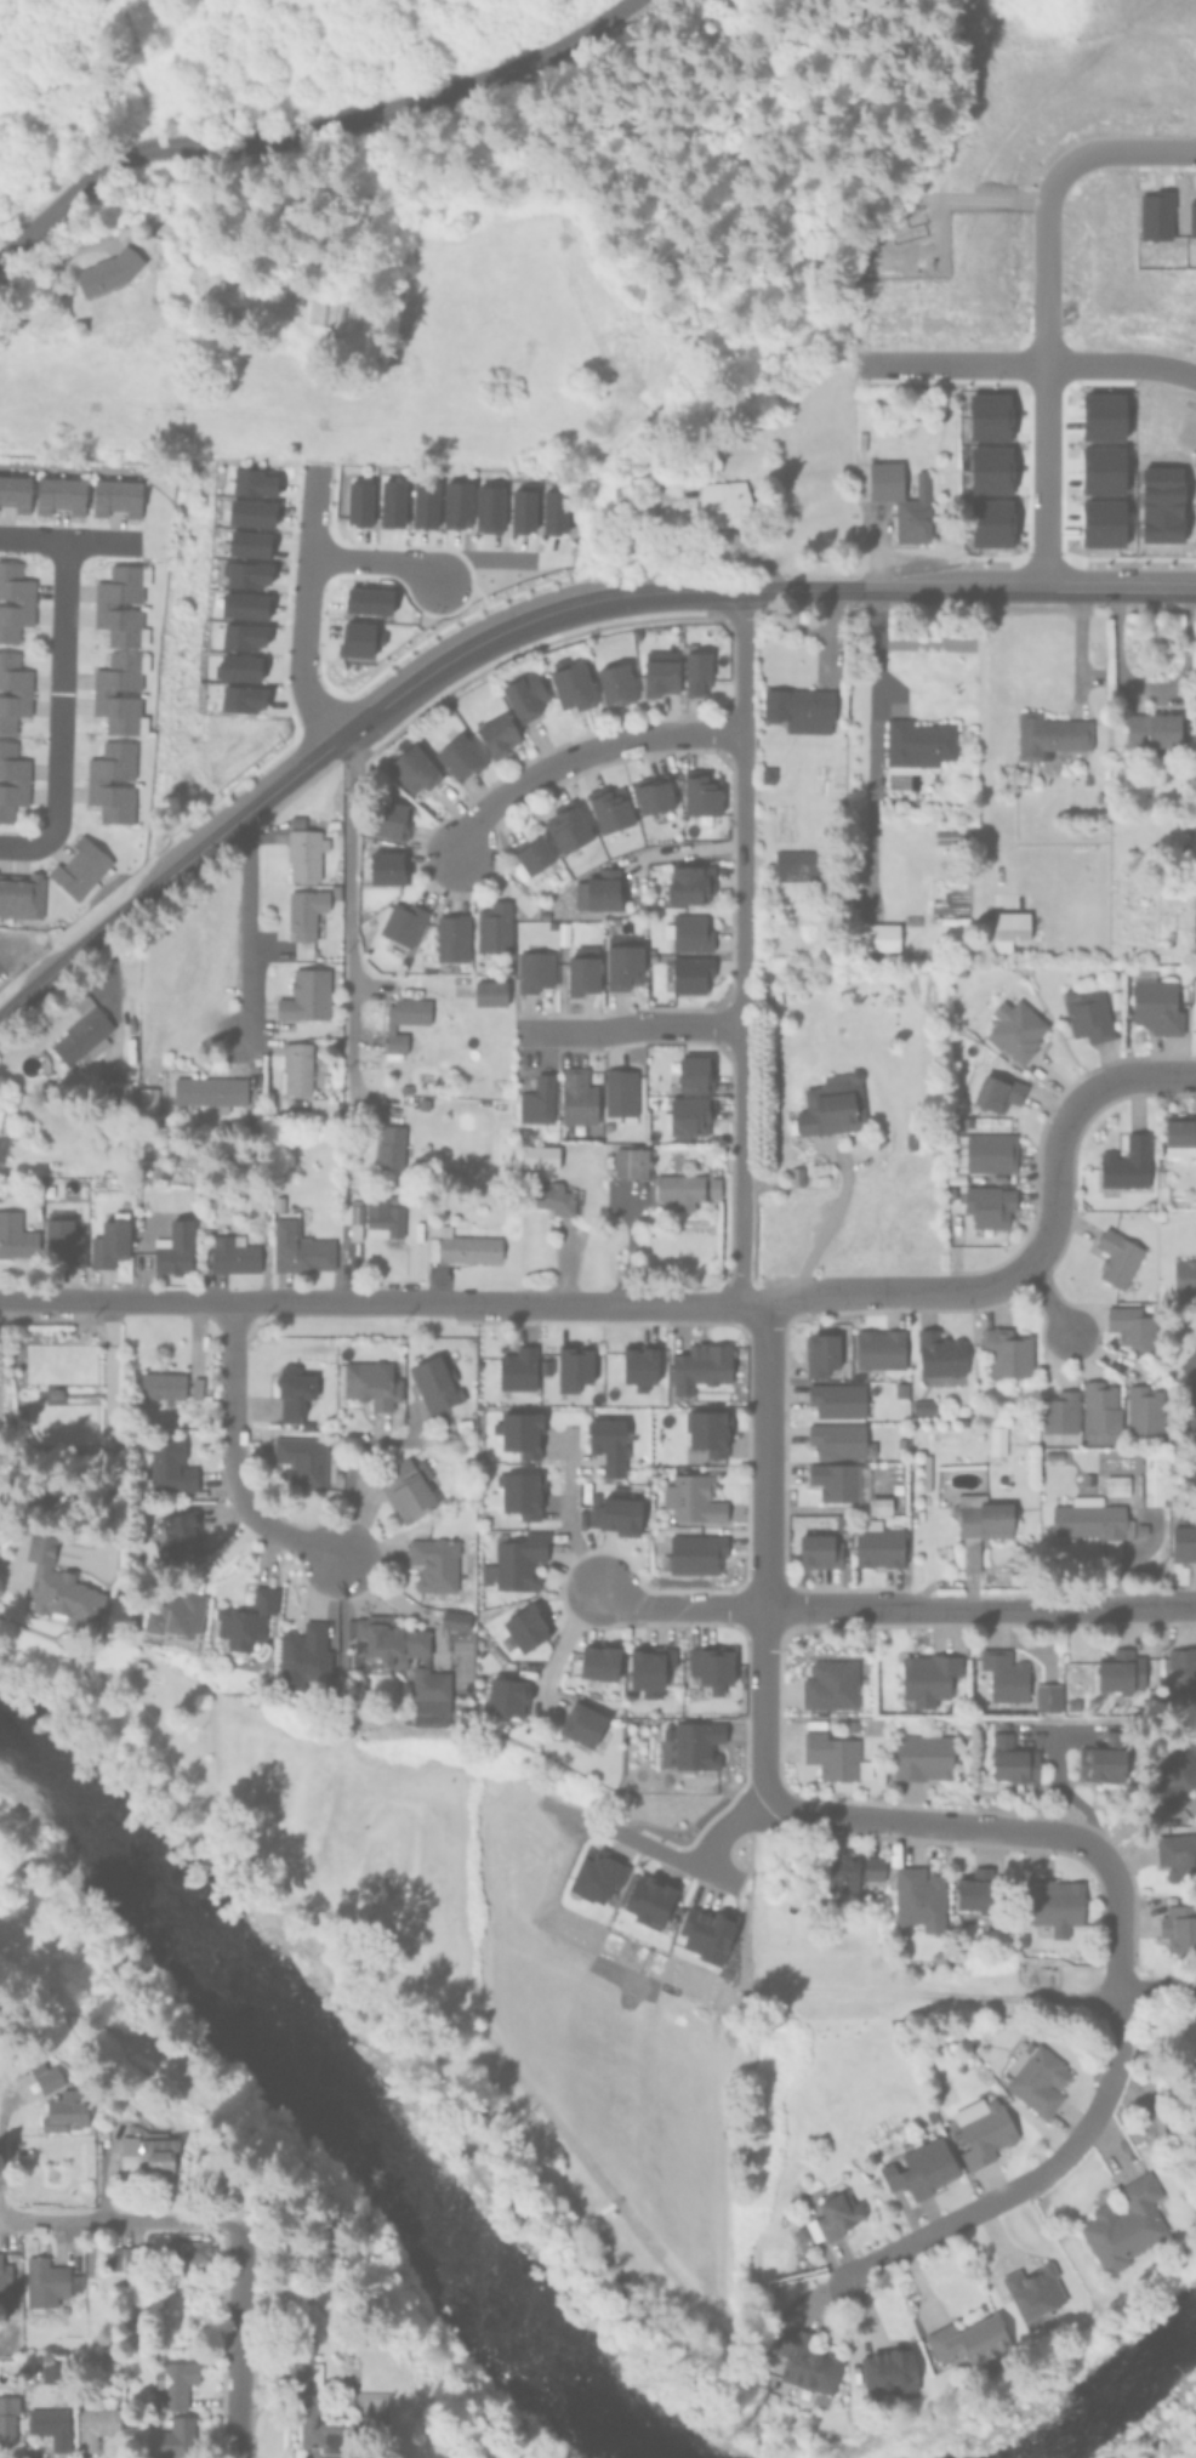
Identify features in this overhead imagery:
road: (313, 131)
road: (1126, 149)
road: (967, 209)
building: (107, 271)
road: (1031, 364)
road: (1041, 377)
building: (251, 482)
building: (15, 491)
building: (59, 494)
building: (625, 495)
building: (116, 496)
building: (901, 499)
building: (358, 502)
building: (389, 502)
building: (723, 502)
building: (422, 503)
building: (455, 503)
building: (486, 508)
building: (520, 511)
building: (552, 511)
building: (250, 512)
road: (66, 537)
building: (247, 544)
road: (374, 553)
road: (478, 554)
building: (245, 574)
road: (970, 587)
building: (366, 599)
building: (13, 601)
building: (103, 604)
building: (243, 604)
road: (301, 608)
road: (524, 619)
building: (243, 636)
building: (357, 638)
building: (237, 666)
building: (696, 670)
building: (659, 676)
building: (616, 683)
building: (573, 687)
building: (12, 690)
building: (102, 692)
road: (1144, 692)
building: (525, 696)
building: (241, 698)
building: (801, 709)
road: (58, 713)
building: (1151, 729)
building: (1050, 734)
building: (497, 735)
building: (918, 742)
road: (872, 744)
road: (582, 755)
building: (460, 757)
building: (414, 768)
building: (767, 774)
building: (11, 780)
building: (95, 781)
building: (654, 793)
building: (700, 793)
building: (610, 808)
building: (388, 819)
building: (568, 827)
building: (955, 837)
road: (671, 850)
building: (303, 854)
building: (532, 854)
building: (387, 865)
building: (796, 865)
building: (79, 869)
road: (165, 875)
building: (690, 884)
building: (336, 891)
building: (599, 891)
building: (21, 892)
road: (349, 895)
building: (303, 917)
building: (401, 921)
road: (247, 926)
building: (494, 926)
building: (1007, 929)
building: (688, 931)
building: (451, 935)
building: (879, 937)
road: (742, 946)
building: (918, 951)
building: (623, 960)
building: (534, 969)
building: (690, 971)
building: (581, 973)
building: (762, 980)
building: (489, 991)
building: (304, 994)
building: (1155, 1002)
building: (1088, 1013)
building: (403, 1019)
road: (628, 1026)
building: (81, 1029)
building: (1019, 1029)
building: (296, 1065)
building: (693, 1071)
building: (51, 1087)
building: (109, 1087)
building: (404, 1087)
building: (209, 1091)
building: (998, 1091)
building: (620, 1092)
building: (536, 1099)
building: (576, 1099)
building: (832, 1103)
building: (147, 1104)
building: (501, 1105)
building: (321, 1109)
building: (684, 1114)
building: (254, 1127)
building: (1179, 1133)
building: (910, 1139)
building: (2, 1144)
building: (389, 1145)
building: (986, 1151)
building: (540, 1155)
building: (619, 1161)
building: (638, 1161)
building: (1127, 1162)
building: (796, 1174)
building: (974, 1177)
building: (712, 1185)
building: (679, 1188)
building: (552, 1199)
building: (277, 1201)
building: (989, 1204)
building: (352, 1214)
building: (383, 1214)
building: (690, 1221)
building: (15, 1235)
building: (61, 1239)
building: (108, 1242)
building: (298, 1244)
building: (175, 1245)
building: (461, 1245)
building: (230, 1252)
building: (1117, 1256)
building: (1184, 1275)
road: (1046, 1304)
road: (670, 1308)
building: (1132, 1325)
building: (879, 1348)
building: (1007, 1350)
building: (821, 1352)
building: (940, 1358)
building: (574, 1362)
building: (639, 1362)
building: (545, 1365)
building: (700, 1365)
building: (1190, 1366)
building: (517, 1369)
building: (435, 1379)
building: (371, 1382)
building: (161, 1384)
building: (197, 1388)
building: (900, 1389)
building: (292, 1390)
building: (55, 1392)
building: (838, 1398)
building: (922, 1405)
building: (1100, 1406)
building: (1144, 1407)
building: (1060, 1411)
building: (1190, 1415)
building: (462, 1423)
building: (707, 1429)
building: (518, 1433)
building: (997, 1435)
building: (837, 1438)
building: (606, 1445)
building: (1052, 1453)
road: (233, 1460)
building: (301, 1460)
building: (167, 1467)
building: (926, 1470)
building: (1152, 1478)
building: (835, 1479)
building: (1087, 1479)
building: (1117, 1484)
building: (895, 1485)
building: (408, 1487)
building: (520, 1492)
building: (691, 1497)
building: (879, 1503)
building: (616, 1513)
building: (1090, 1520)
building: (842, 1521)
building: (981, 1523)
road: (568, 1526)
building: (712, 1529)
building: (1140, 1529)
building: (176, 1534)
building: (1183, 1542)
building: (877, 1544)
building: (819, 1551)
building: (693, 1552)
road: (764, 1554)
building: (516, 1560)
building: (434, 1563)
building: (57, 1584)
road: (980, 1606)
road: (677, 1608)
building: (175, 1618)
building: (454, 1618)
building: (243, 1622)
building: (525, 1626)
road: (564, 1635)
building: (302, 1655)
building: (398, 1656)
building: (600, 1660)
building: (649, 1665)
building: (711, 1665)
building: (1118, 1669)
building: (1184, 1669)
building: (1004, 1674)
building: (927, 1678)
building: (830, 1684)
building: (507, 1695)
building: (1047, 1696)
building: (1072, 1702)
building: (465, 1716)
building: (582, 1724)
building: (852, 1724)
building: (666, 1732)
building: (695, 1745)
building: (831, 1754)
building: (922, 1757)
building: (1105, 1758)
building: (1013, 1759)
building: (1173, 1774)
road: (1010, 1830)
building: (1177, 1855)
road: (700, 1865)
building: (803, 1871)
building: (852, 1872)
building: (596, 1876)
building: (978, 1889)
building: (918, 1896)
building: (648, 1901)
building: (1055, 1905)
building: (1179, 1928)
building: (705, 1931)
road: (1157, 1988)
building: (1036, 2076)
building: (47, 2079)
river: (325, 2099)
road: (5, 2110)
building: (66, 2113)
building: (983, 2130)
building: (149, 2151)
building: (919, 2167)
road: (1035, 2177)
building: (835, 2214)
road: (119, 2223)
building: (1124, 2224)
building: (802, 2232)
building: (186, 2253)
building: (118, 2257)
building: (47, 2281)
building: (4, 2282)
building: (1033, 2292)
building: (139, 2309)
building: (968, 2339)
road: (237, 2340)
building: (801, 2367)
building: (51, 2371)
building: (890, 2372)
building: (172, 2382)
river: (1115, 2390)
building: (304, 2391)
building: (7, 2416)
building: (49, 2424)
building: (95, 2425)
building: (175, 2437)

